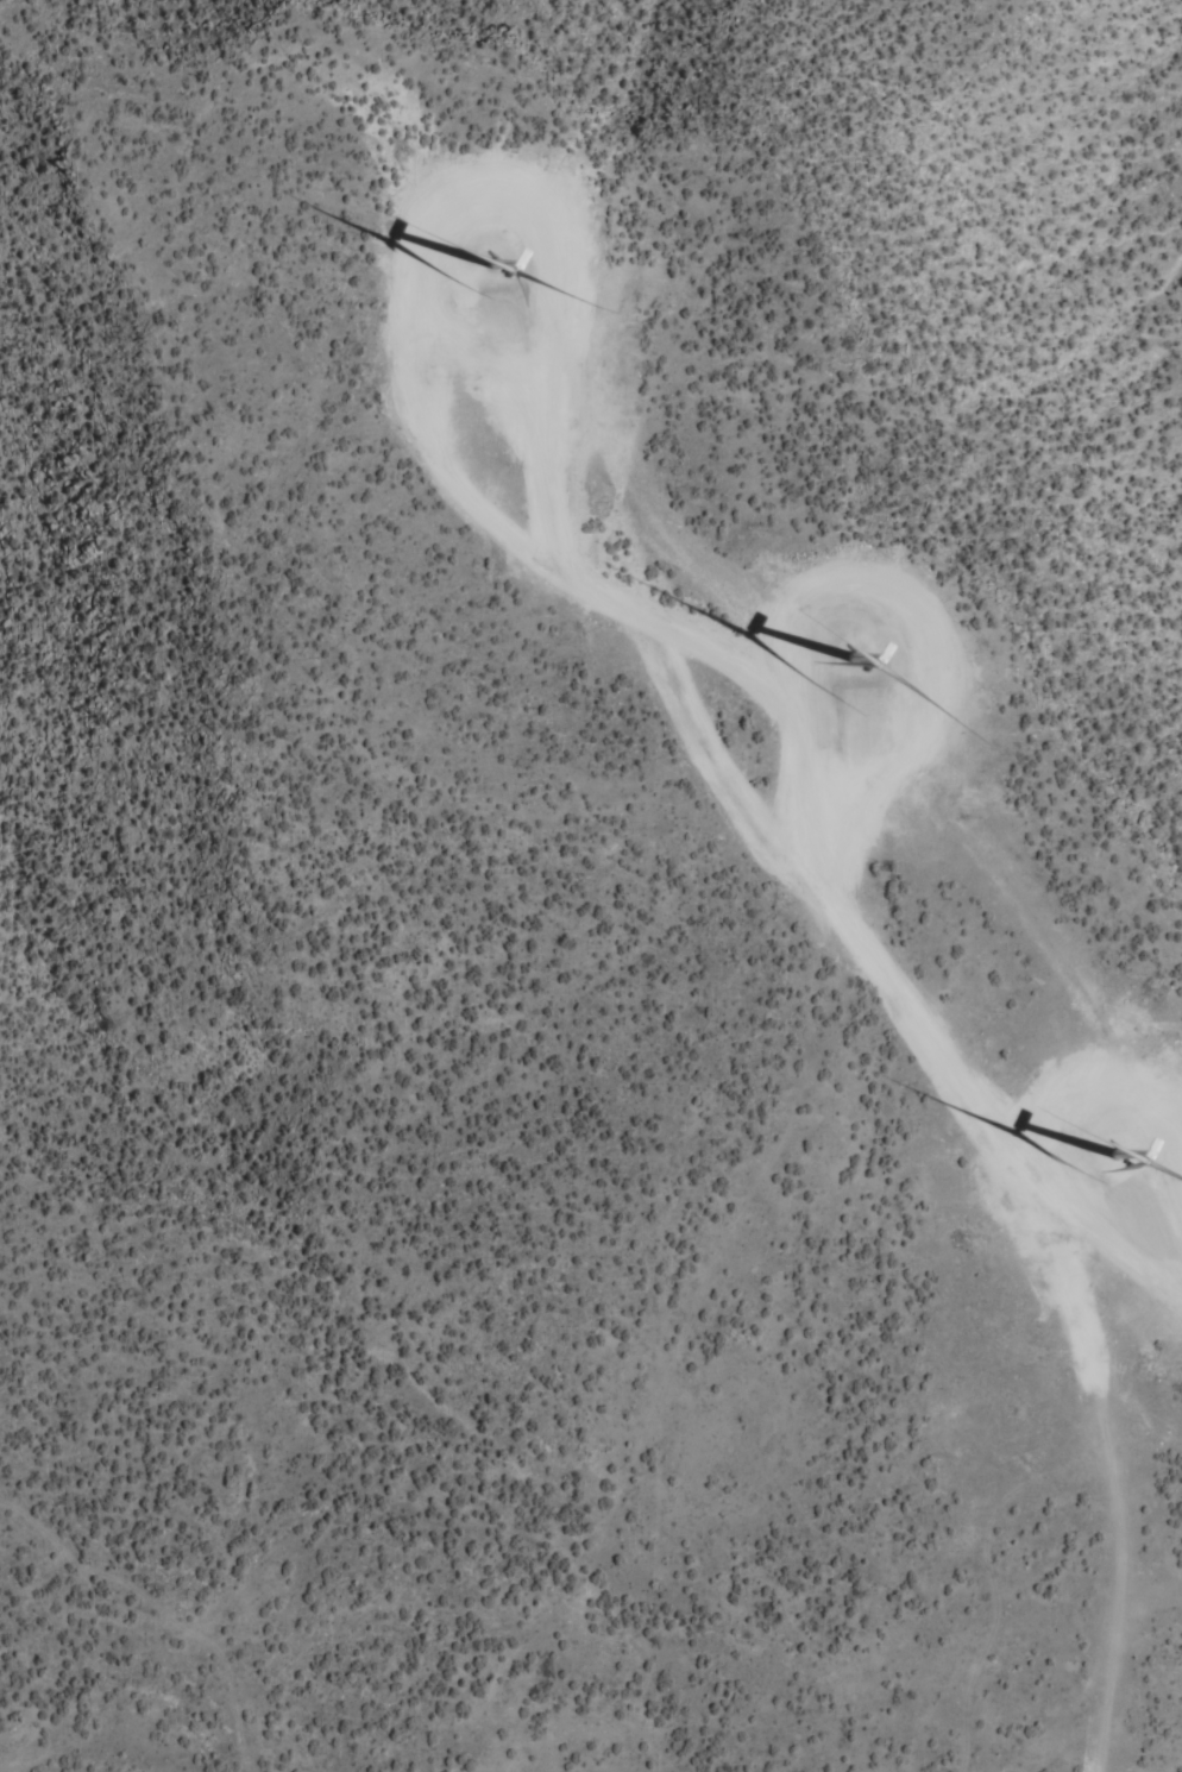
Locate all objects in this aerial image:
wind turbine: (502, 264)
wind turbine: (853, 667)
wind turbine: (1117, 1161)

